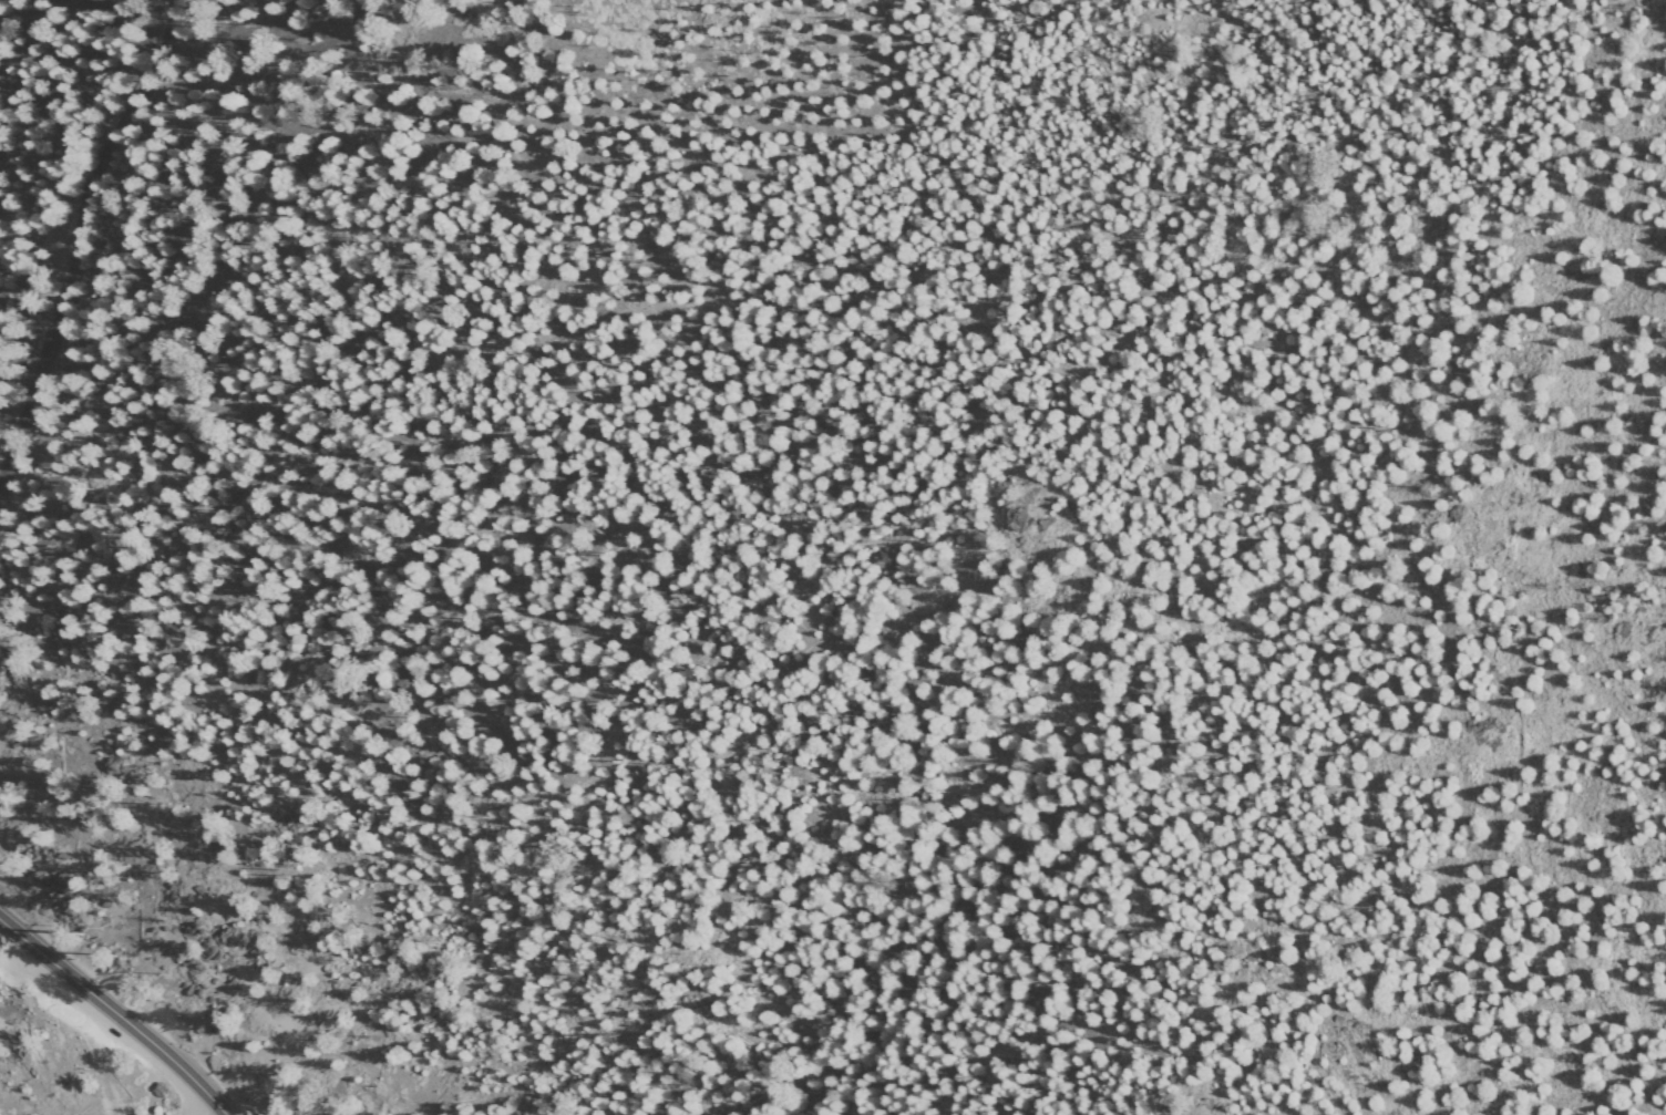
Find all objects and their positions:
road: (76, 237)
road: (1410, 562)
road: (115, 1014)

